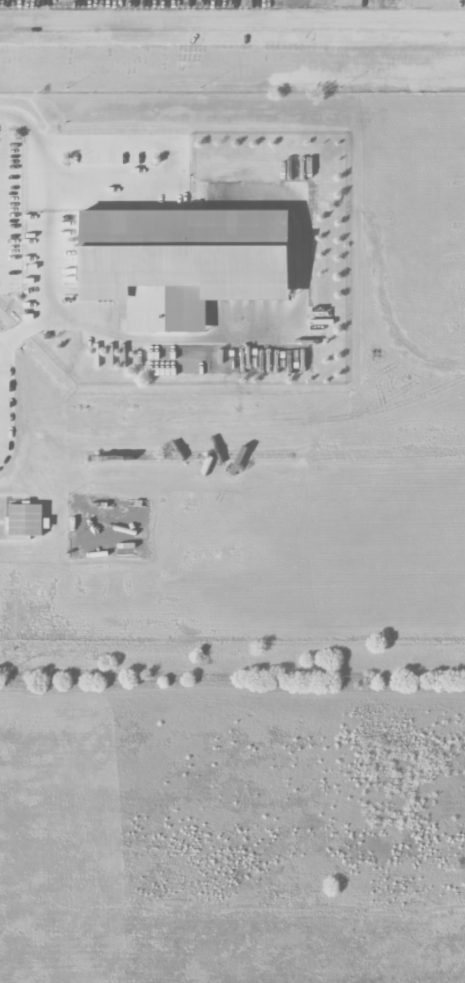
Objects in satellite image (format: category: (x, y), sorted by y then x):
road: (232, 18)
road: (119, 144)
road: (301, 218)
road: (52, 245)
building: (182, 262)
road: (26, 330)
road: (0, 420)
railway: (190, 457)
building: (25, 521)

